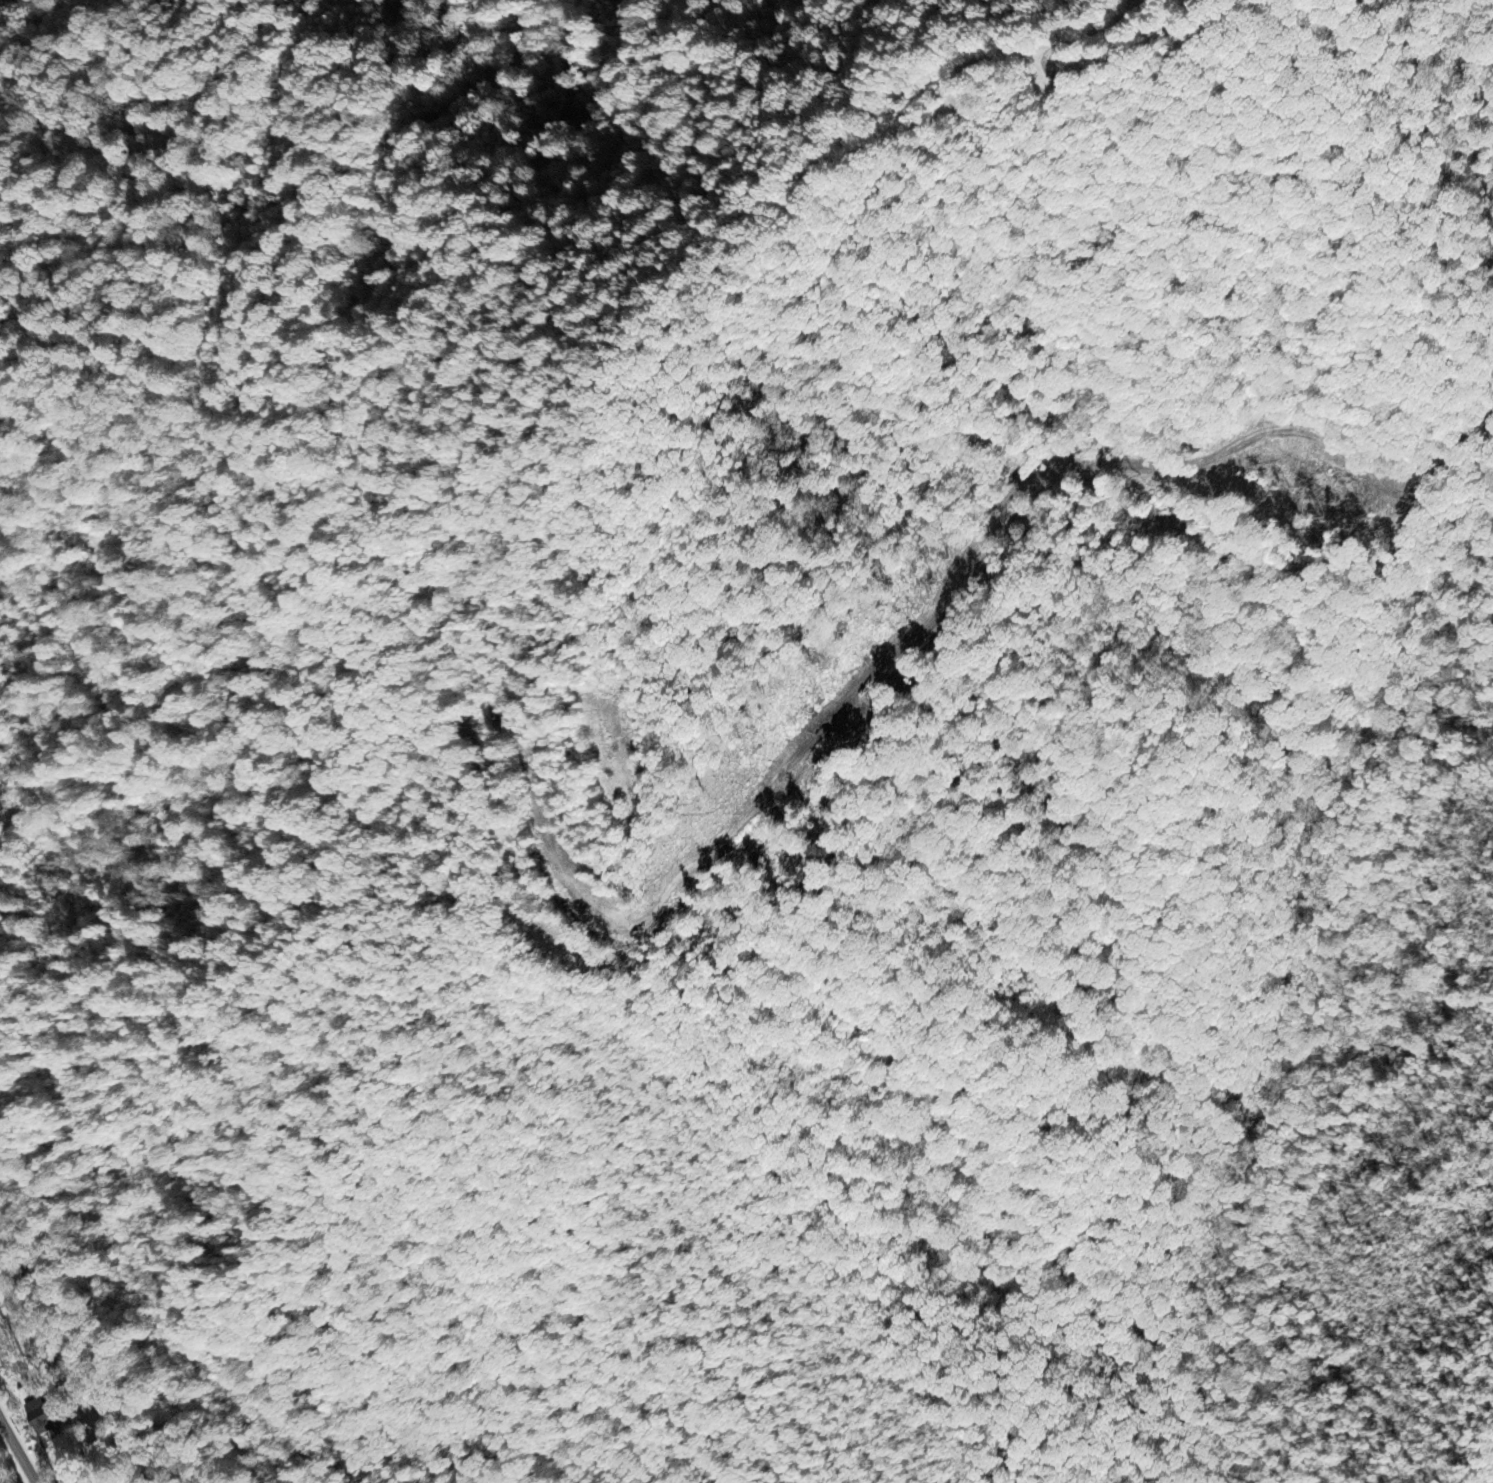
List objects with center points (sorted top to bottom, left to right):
road: (1101, 32)
road: (371, 492)
building: (40, 1417)
road: (18, 1452)

